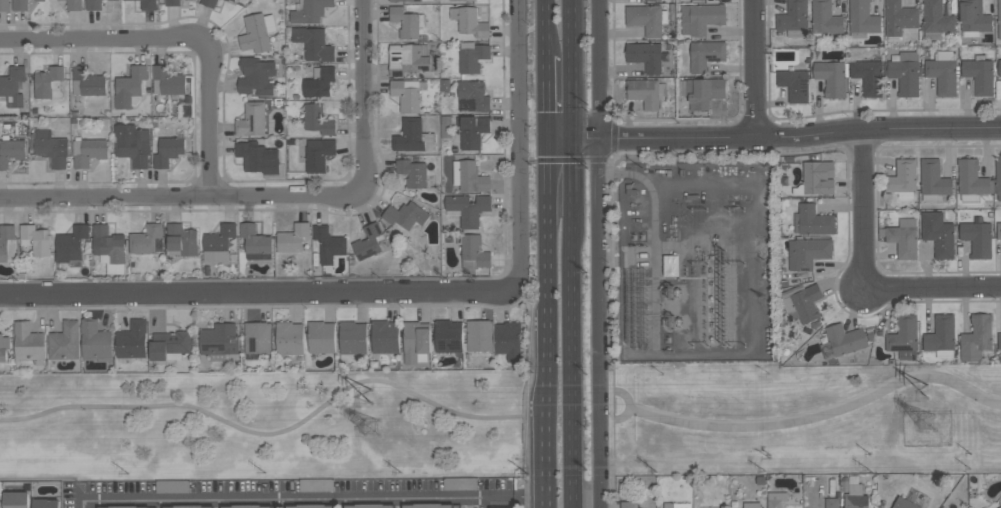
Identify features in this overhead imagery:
building: (40, 0)
building: (227, 0)
building: (233, 0)
building: (416, 0)
building: (463, 0)
building: (394, 1)
building: (209, 2)
building: (172, 3)
building: (148, 4)
building: (4, 5)
building: (20, 5)
building: (74, 5)
building: (94, 5)
building: (310, 11)
building: (647, 18)
building: (701, 18)
building: (974, 18)
building: (999, 18)
building: (794, 19)
building: (825, 19)
building: (862, 19)
building: (899, 19)
building: (936, 19)
building: (407, 22)
building: (470, 22)
road: (543, 27)
building: (257, 32)
road: (180, 37)
building: (314, 44)
building: (706, 54)
building: (646, 56)
building: (471, 57)
building: (407, 59)
building: (999, 68)
road: (755, 69)
building: (943, 72)
building: (905, 73)
building: (979, 75)
building: (256, 76)
building: (868, 76)
building: (832, 77)
building: (167, 81)
building: (49, 82)
building: (87, 82)
building: (319, 82)
building: (794, 84)
building: (13, 86)
building: (129, 86)
building: (646, 92)
building: (702, 92)
building: (407, 94)
building: (472, 96)
road: (543, 97)
building: (252, 119)
building: (317, 119)
building: (472, 130)
building: (413, 136)
road: (772, 137)
traffic signals: (575, 138)
traffic signals: (543, 141)
building: (132, 144)
building: (51, 148)
building: (168, 150)
building: (11, 151)
building: (88, 151)
building: (319, 154)
building: (258, 157)
road: (519, 160)
road: (563, 160)
building: (412, 172)
road: (573, 175)
building: (469, 176)
building: (998, 178)
building: (816, 179)
building: (902, 179)
building: (933, 181)
building: (972, 181)
road: (651, 191)
road: (280, 196)
building: (469, 208)
building: (405, 215)
building: (813, 220)
building: (999, 230)
building: (938, 234)
building: (293, 237)
building: (977, 237)
building: (902, 238)
building: (36, 239)
building: (147, 239)
road: (543, 239)
building: (181, 240)
building: (370, 241)
building: (256, 242)
building: (7, 243)
building: (218, 243)
building: (328, 243)
building: (71, 244)
building: (109, 248)
building: (807, 252)
road: (597, 253)
building: (473, 254)
power substation: (696, 262)
building: (672, 264)
road: (864, 277)
road: (243, 293)
building: (803, 302)
road: (609, 331)
building: (480, 335)
building: (321, 336)
building: (384, 336)
building: (448, 336)
building: (941, 336)
building: (258, 337)
building: (352, 337)
building: (904, 337)
building: (976, 337)
building: (289, 338)
building: (132, 339)
building: (95, 340)
building: (507, 340)
building: (65, 341)
building: (219, 341)
building: (843, 341)
building: (999, 341)
building: (28, 342)
building: (416, 342)
building: (169, 345)
building: (4, 347)
road: (530, 349)
power tower: (928, 389)
power tower: (373, 394)
road: (628, 404)
road: (819, 414)
park: (806, 419)
road: (543, 422)
park: (265, 425)
power tower: (936, 425)
road: (572, 429)
road: (288, 431)
power tower: (376, 433)
road: (518, 434)
road: (613, 466)
building: (460, 483)
building: (316, 485)
building: (172, 486)
building: (855, 497)
building: (16, 499)
building: (776, 499)
road: (296, 500)
road: (529, 502)
building: (46, 503)
building: (831, 503)
building: (904, 503)
building: (629, 504)
building: (370, 505)
building: (431, 505)
building: (677, 505)
building: (752, 505)
building: (126, 506)
building: (190, 506)
building: (247, 506)
building: (311, 506)
building: (943, 507)
building: (1000, 507)

